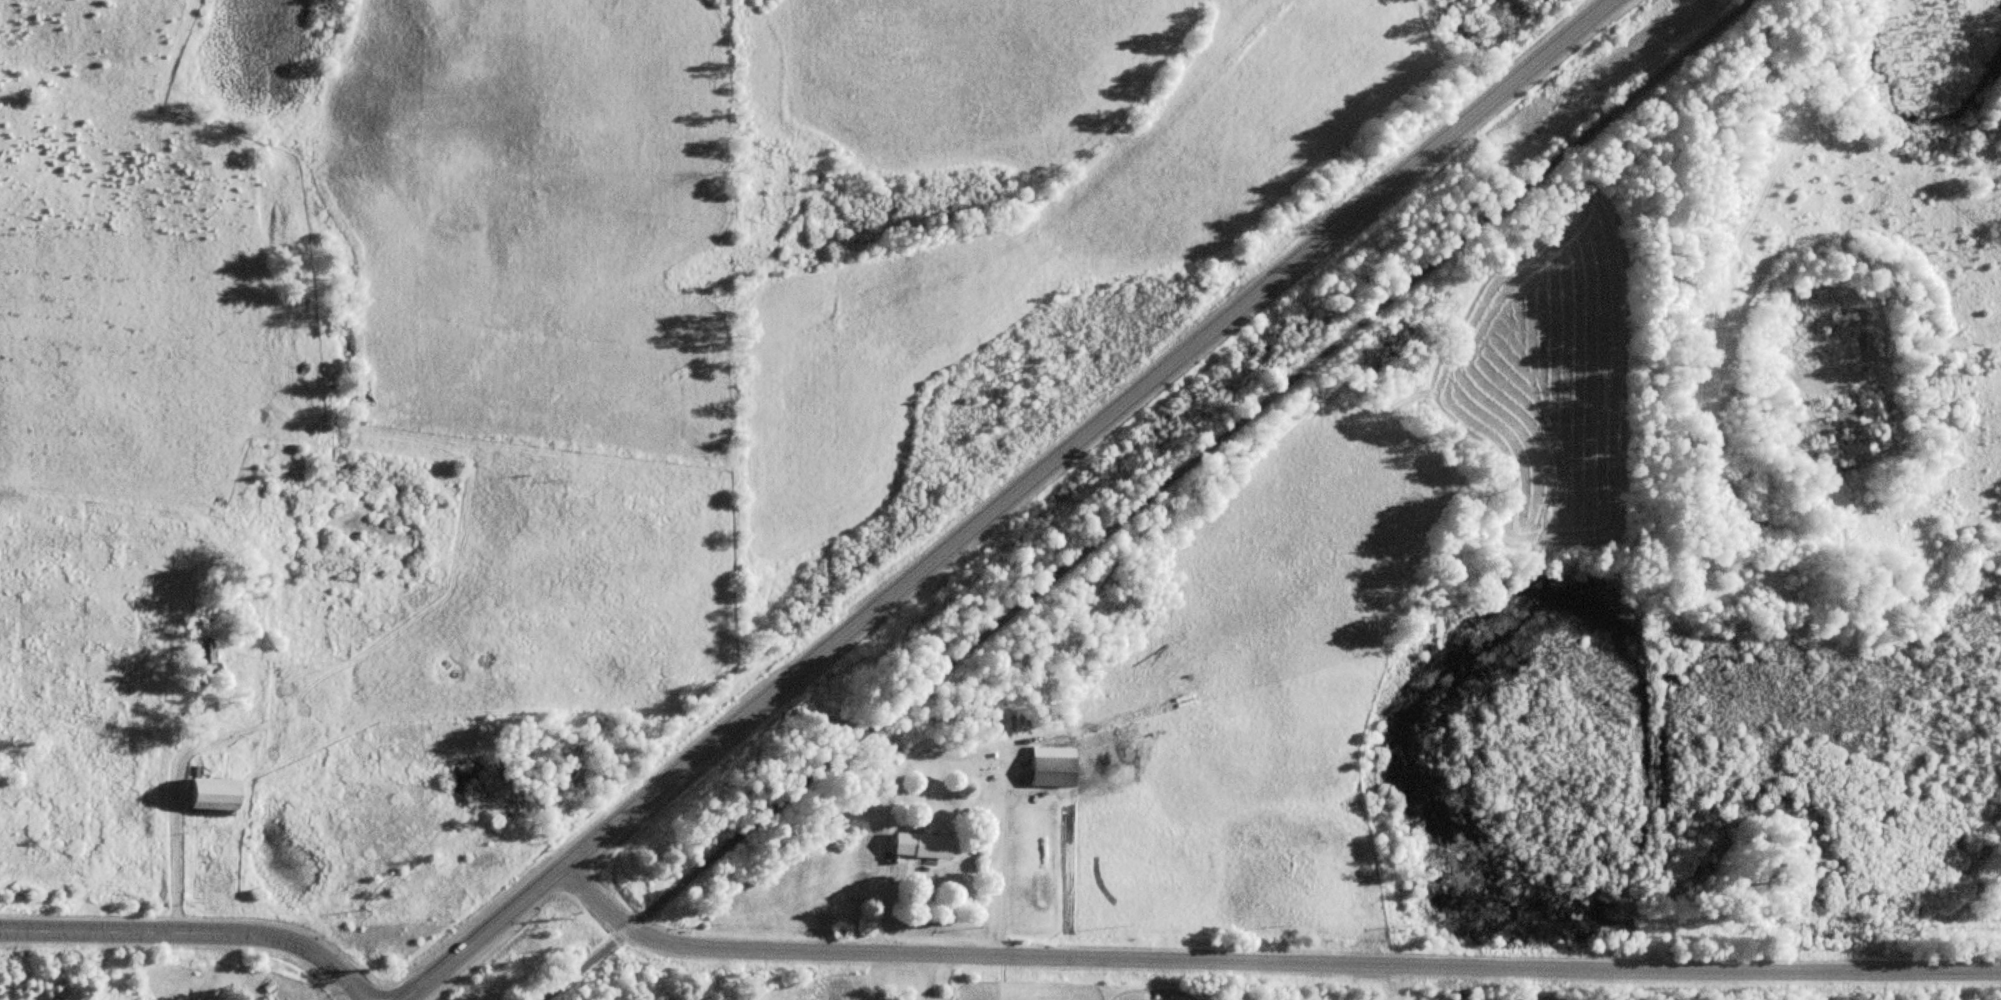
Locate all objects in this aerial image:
road: (1009, 499)
road: (1151, 500)
building: (210, 659)
building: (1055, 768)
building: (216, 795)
building: (924, 845)
road: (193, 931)
road: (1268, 952)

